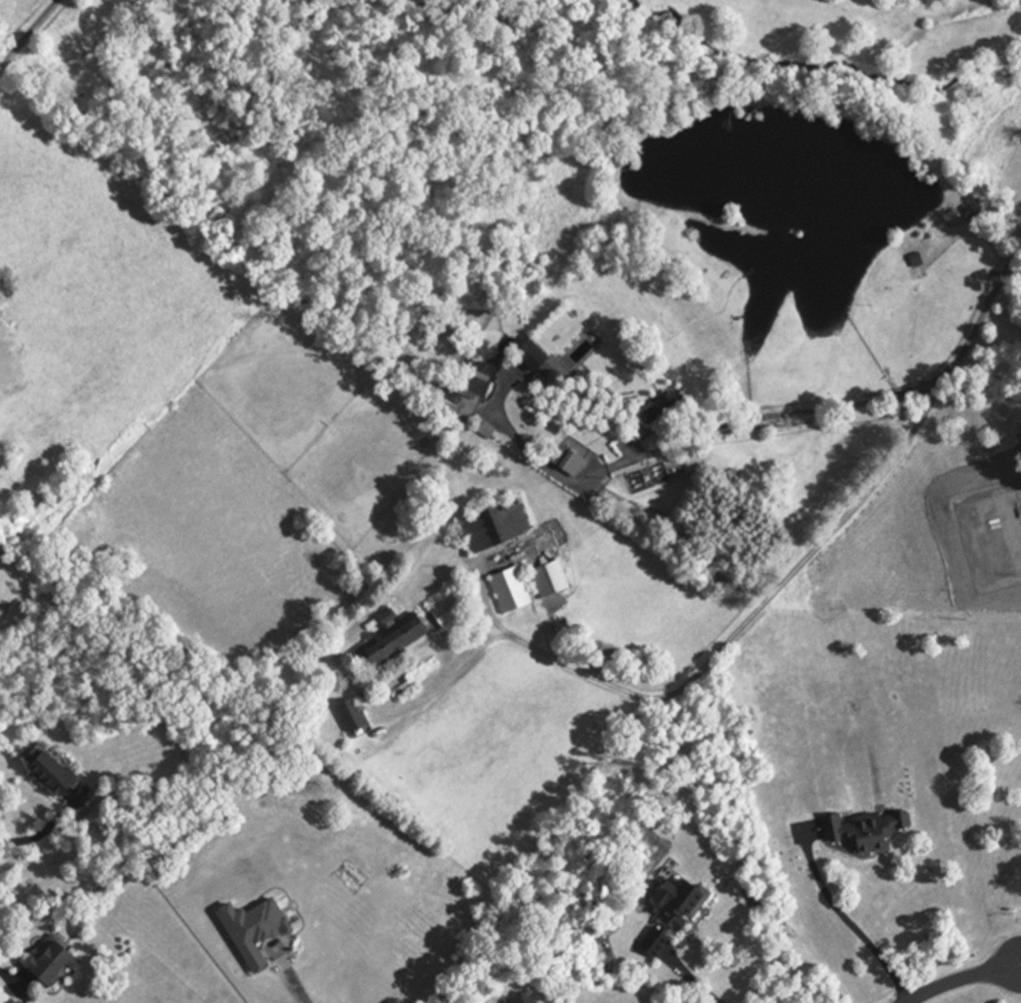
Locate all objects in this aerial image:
road: (28, 35)
building: (528, 358)
building: (468, 386)
road: (850, 405)
building: (656, 411)
building: (492, 526)
building: (546, 578)
building: (507, 589)
road: (756, 609)
building: (445, 616)
building: (392, 640)
building: (348, 714)
building: (46, 769)
road: (44, 830)
building: (677, 903)
road: (847, 922)
building: (43, 964)
road: (1020, 967)
road: (1020, 968)
road: (5, 975)
road: (967, 983)
road: (698, 985)
road: (299, 989)
building: (520, 998)

